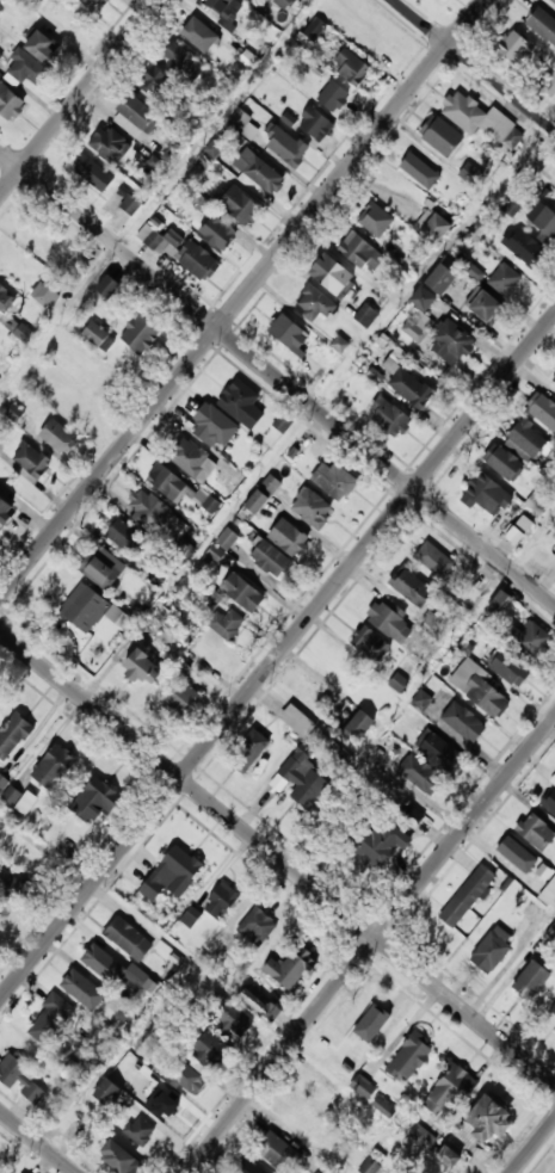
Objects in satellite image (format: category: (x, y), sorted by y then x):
building: (248, 0)
building: (253, 0)
building: (551, 1)
building: (88, 2)
building: (94, 2)
building: (283, 4)
building: (222, 8)
building: (341, 16)
building: (542, 25)
building: (314, 29)
building: (198, 36)
building: (512, 49)
building: (0, 55)
building: (31, 57)
building: (180, 63)
road: (475, 64)
building: (349, 68)
building: (154, 82)
building: (548, 87)
road: (80, 98)
building: (332, 98)
building: (10, 103)
building: (135, 118)
building: (479, 121)
building: (243, 124)
building: (313, 125)
building: (439, 136)
building: (109, 146)
building: (283, 147)
building: (214, 148)
building: (427, 172)
building: (91, 173)
building: (470, 173)
building: (261, 175)
building: (554, 199)
building: (130, 204)
building: (238, 206)
building: (511, 208)
building: (377, 223)
building: (543, 223)
building: (433, 229)
building: (215, 233)
building: (520, 247)
building: (359, 254)
building: (195, 261)
building: (474, 271)
building: (328, 276)
building: (437, 280)
building: (504, 282)
building: (107, 285)
building: (44, 292)
road: (242, 300)
building: (5, 301)
building: (312, 305)
building: (483, 310)
building: (365, 315)
building: (412, 332)
building: (21, 334)
building: (137, 334)
building: (286, 334)
building: (97, 337)
building: (339, 344)
building: (449, 344)
road: (277, 376)
building: (553, 379)
building: (95, 381)
building: (409, 390)
building: (239, 403)
building: (72, 409)
building: (14, 410)
building: (541, 412)
building: (387, 418)
building: (211, 426)
building: (56, 437)
building: (525, 439)
building: (29, 461)
building: (191, 461)
building: (502, 464)
building: (332, 480)
building: (167, 484)
building: (483, 495)
building: (255, 500)
building: (535, 502)
building: (309, 508)
building: (6, 510)
building: (158, 515)
building: (518, 530)
building: (123, 538)
building: (286, 538)
building: (220, 547)
building: (541, 560)
building: (267, 561)
building: (433, 561)
building: (101, 569)
building: (407, 587)
building: (240, 593)
building: (499, 601)
building: (91, 612)
building: (388, 619)
building: (222, 624)
building: (529, 640)
building: (369, 644)
road: (277, 659)
building: (510, 667)
building: (137, 671)
building: (397, 681)
building: (481, 689)
building: (180, 700)
building: (417, 706)
building: (297, 720)
building: (464, 721)
building: (362, 723)
building: (13, 734)
building: (251, 751)
building: (440, 752)
building: (378, 753)
building: (54, 766)
building: (420, 773)
building: (304, 777)
building: (2, 780)
building: (10, 794)
building: (25, 801)
building: (95, 801)
building: (550, 801)
building: (415, 817)
building: (537, 831)
building: (383, 841)
building: (517, 854)
road: (277, 857)
building: (173, 873)
building: (6, 878)
building: (548, 890)
building: (468, 895)
building: (222, 901)
building: (538, 913)
building: (190, 915)
building: (257, 926)
building: (129, 938)
road: (370, 944)
building: (493, 949)
building: (104, 963)
building: (291, 967)
building: (534, 978)
building: (84, 988)
building: (260, 1004)
building: (553, 1007)
building: (50, 1018)
building: (235, 1018)
building: (365, 1020)
building: (212, 1047)
building: (332, 1052)
building: (409, 1057)
building: (186, 1076)
building: (21, 1079)
building: (363, 1086)
building: (448, 1089)
building: (109, 1092)
building: (167, 1105)
building: (483, 1125)
building: (140, 1129)
building: (421, 1135)
road: (37, 1142)
road: (534, 1147)
building: (276, 1149)
building: (118, 1156)
building: (446, 1156)
building: (248, 1166)
building: (369, 1166)

